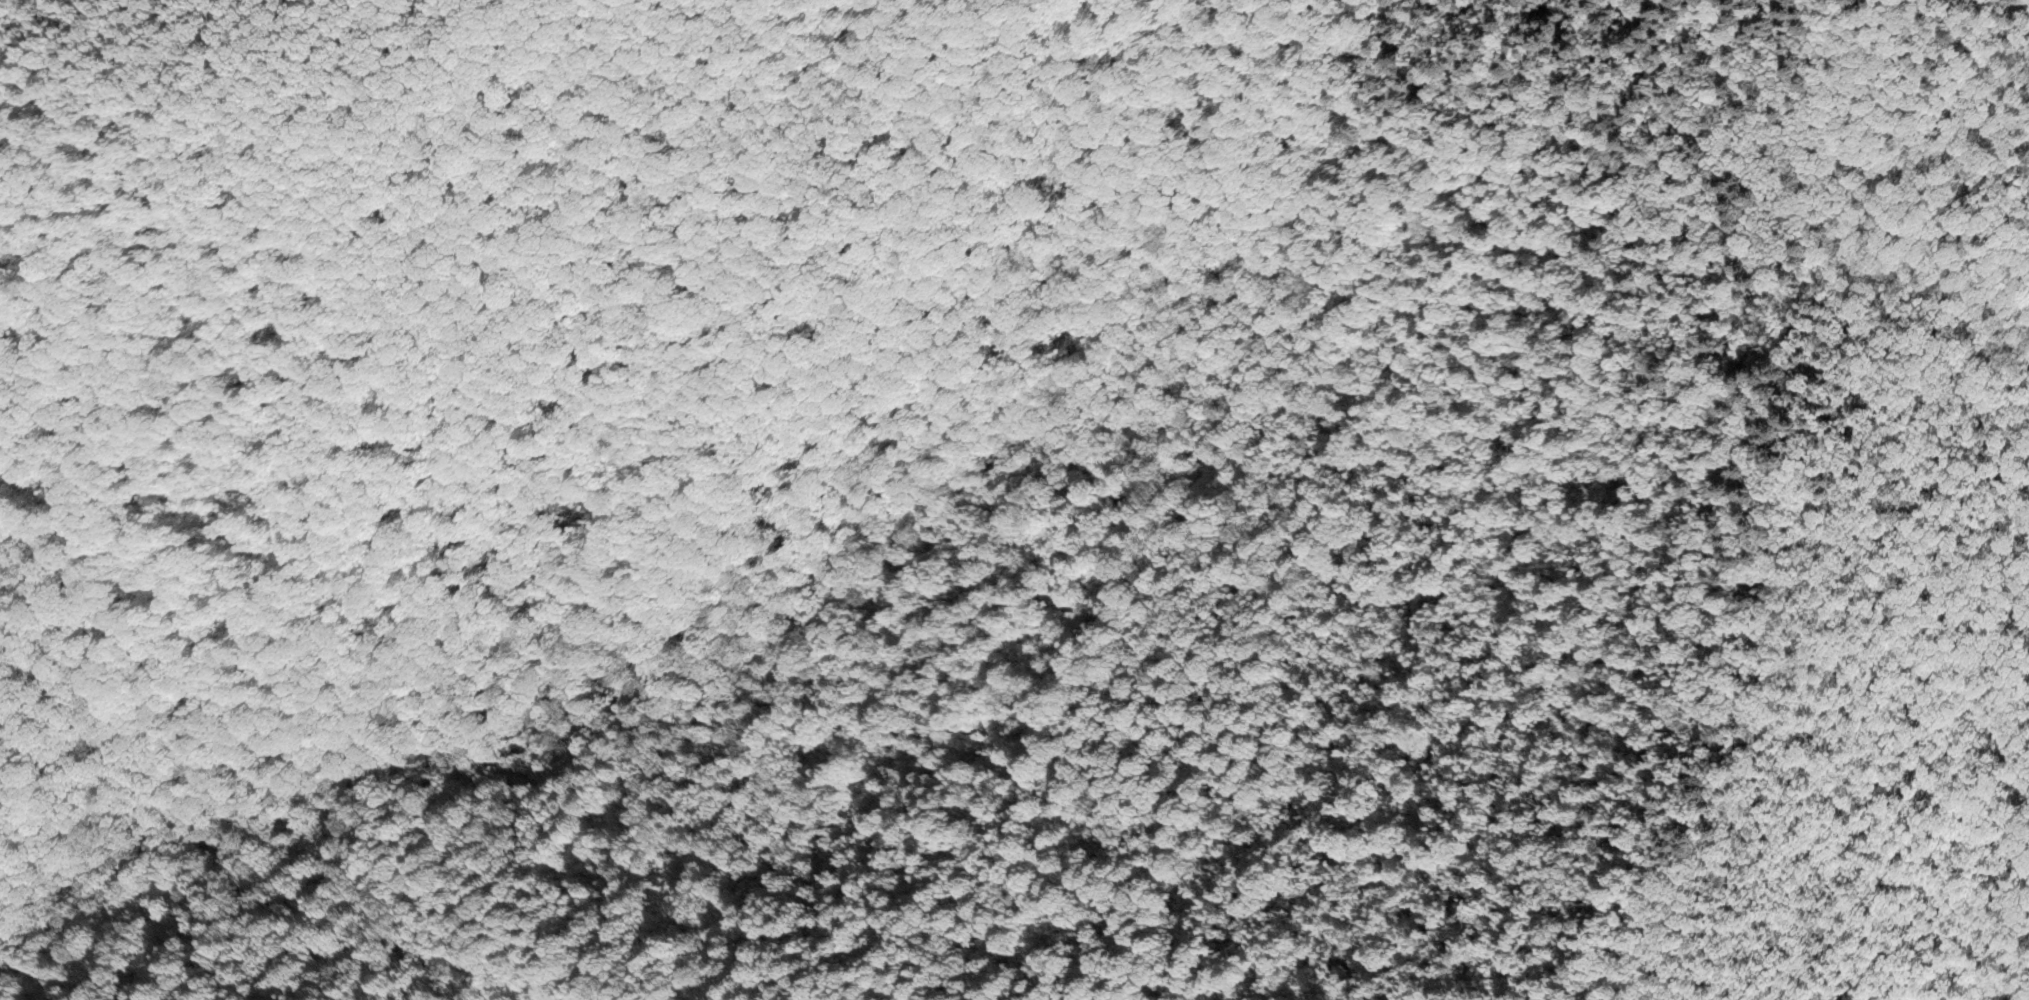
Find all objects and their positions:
road: (1835, 152)

